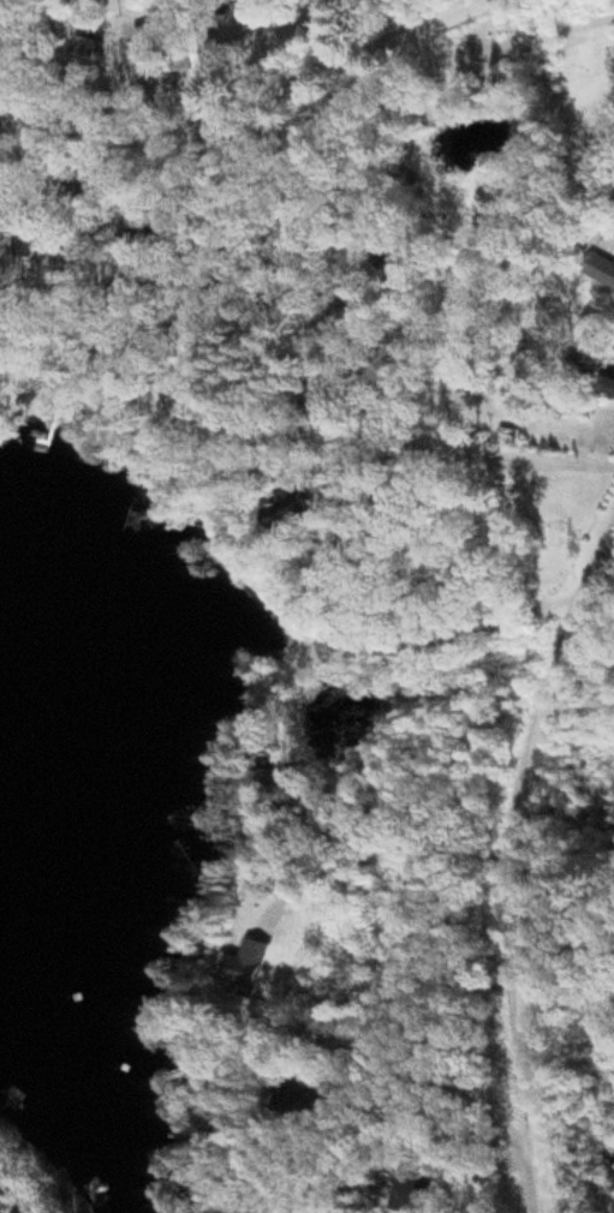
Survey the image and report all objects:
road: (165, 56)
building: (179, 61)
road: (264, 88)
road: (491, 169)
building: (598, 273)
road: (409, 438)
road: (421, 833)
road: (524, 872)
building: (262, 968)

